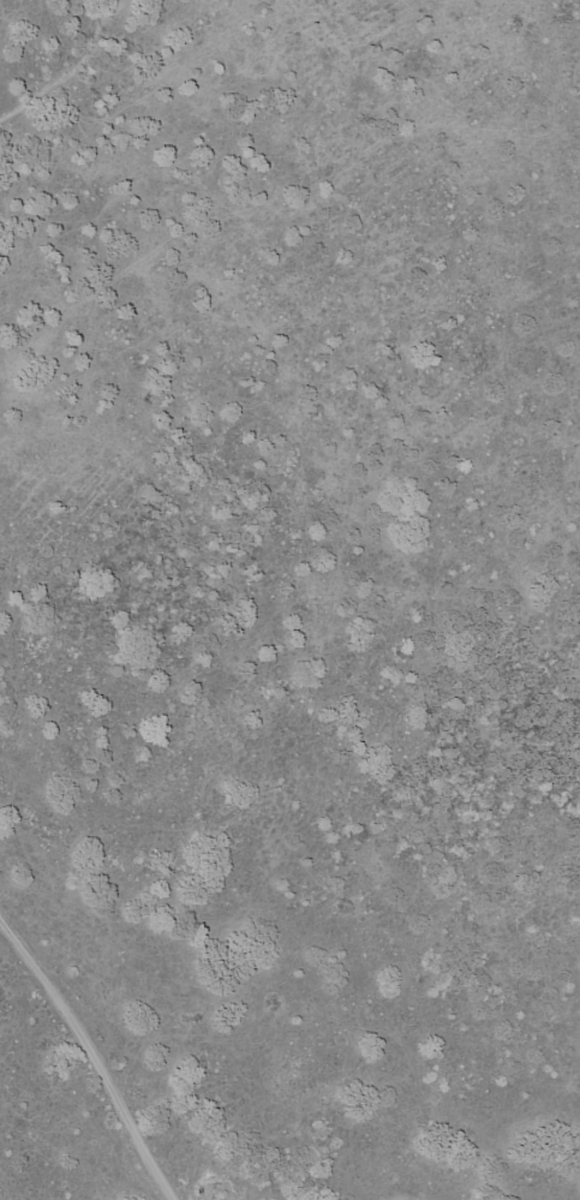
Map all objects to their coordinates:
road: (86, 1073)

